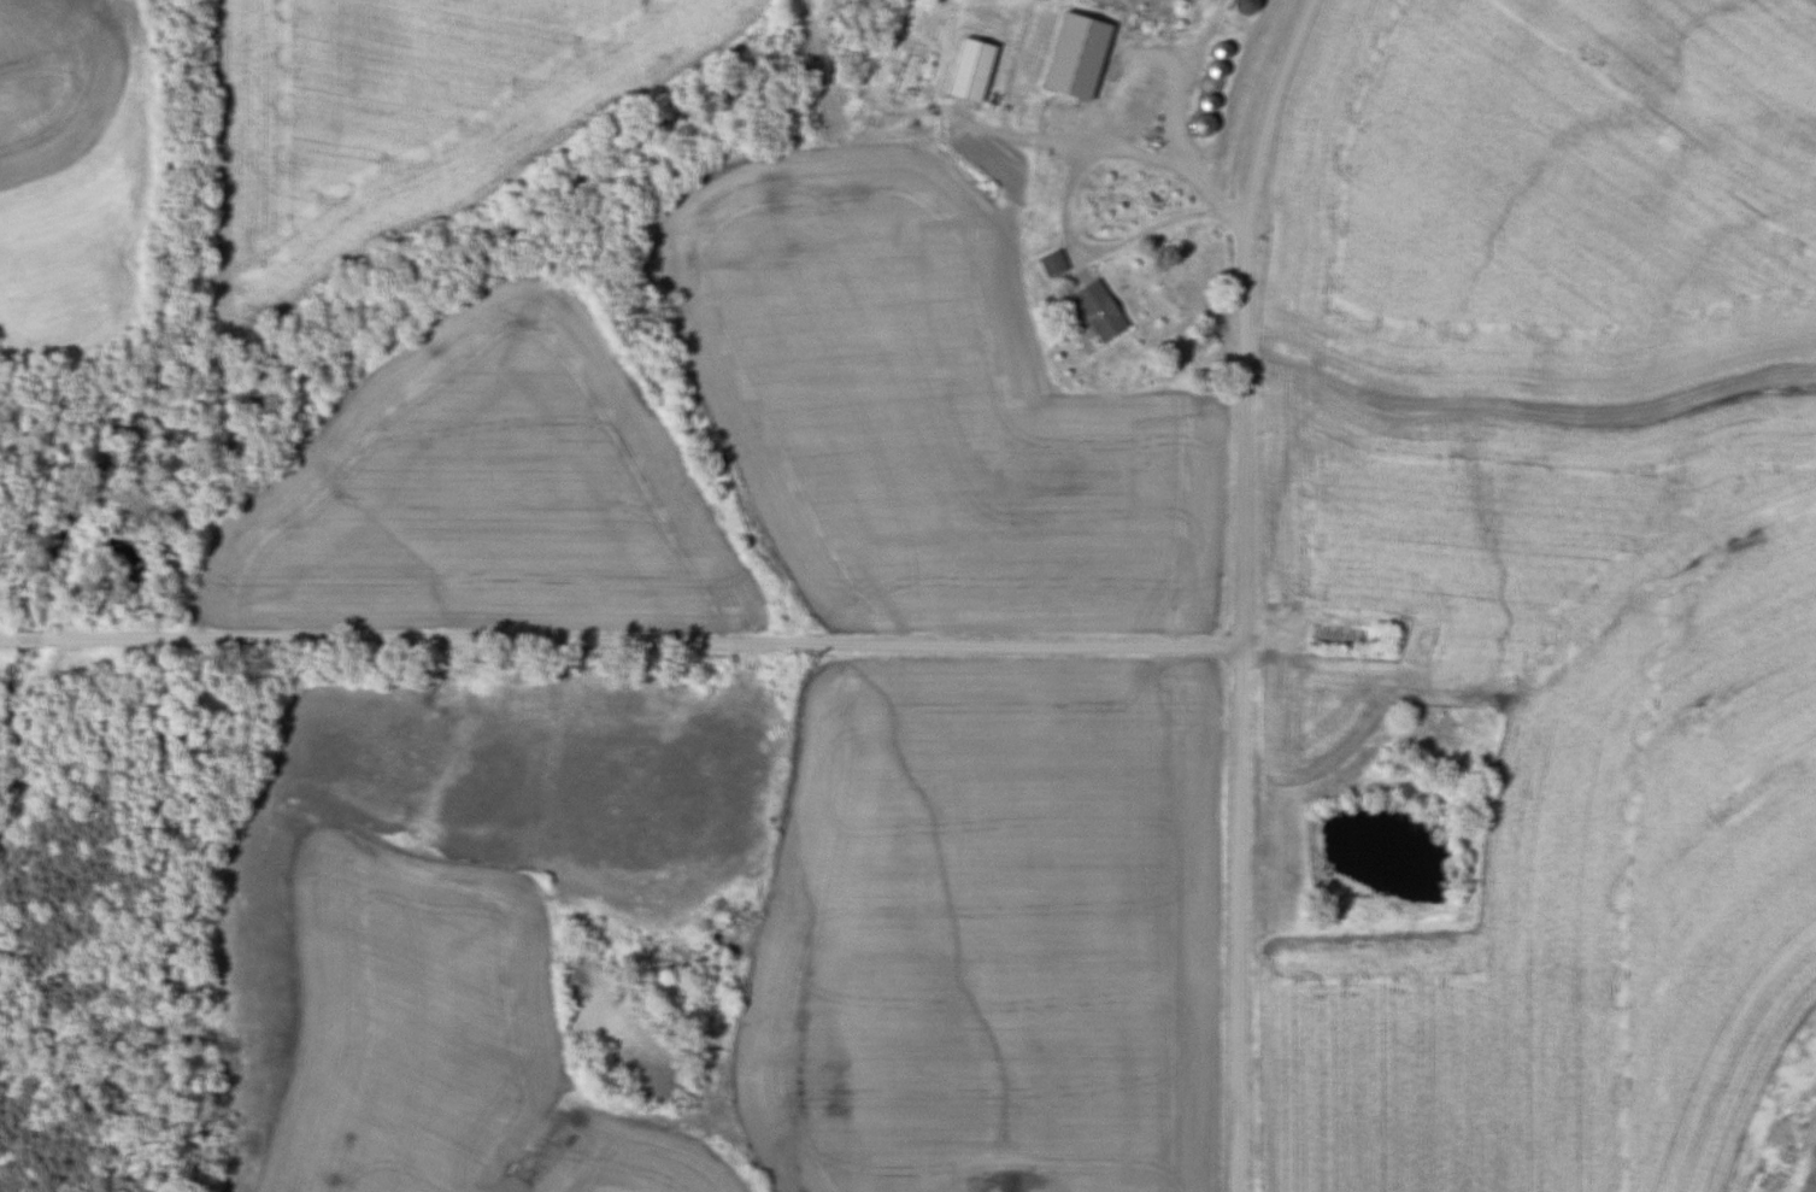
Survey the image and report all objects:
building: (1245, 6)
building: (1163, 8)
building: (969, 70)
building: (906, 71)
building: (1060, 87)
building: (1198, 125)
road: (1152, 231)
building: (1051, 264)
building: (1097, 311)
road: (1241, 589)
building: (1338, 638)
building: (25, 639)
road: (619, 640)

